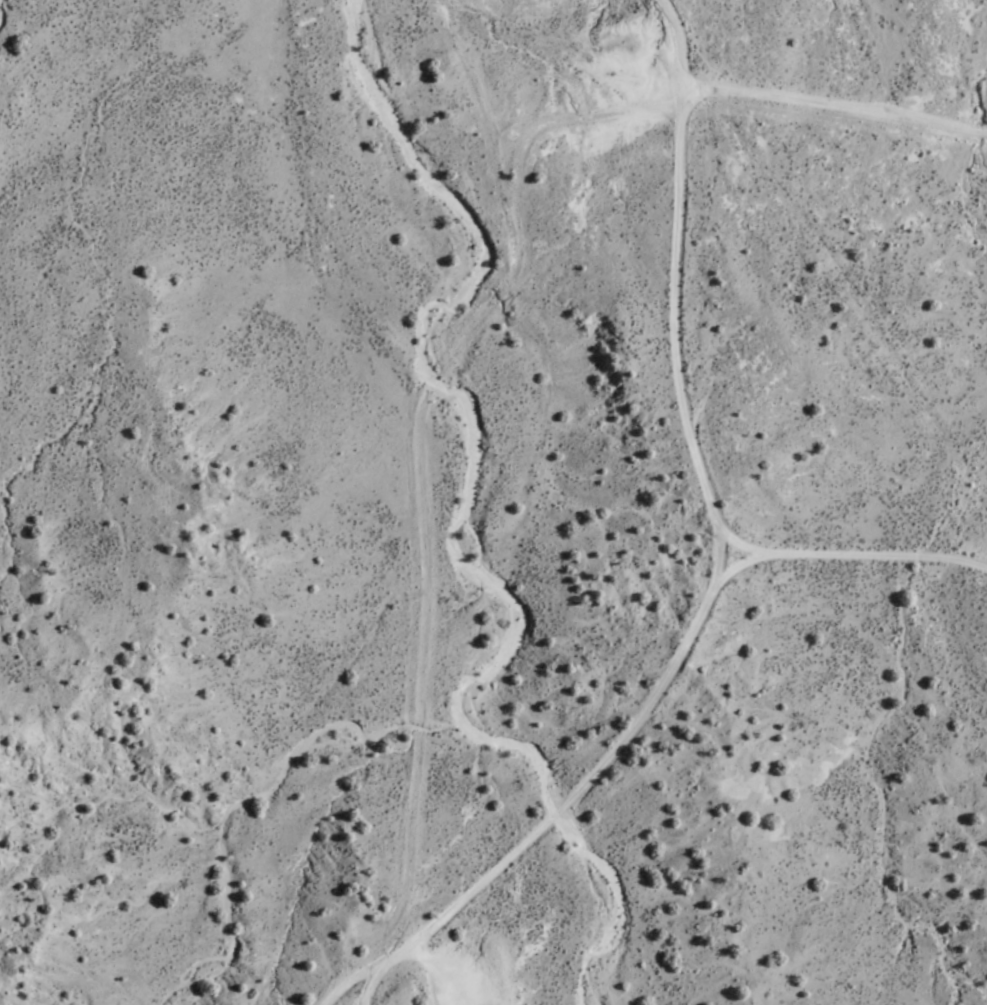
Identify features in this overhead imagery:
road: (791, 100)
road: (723, 570)

